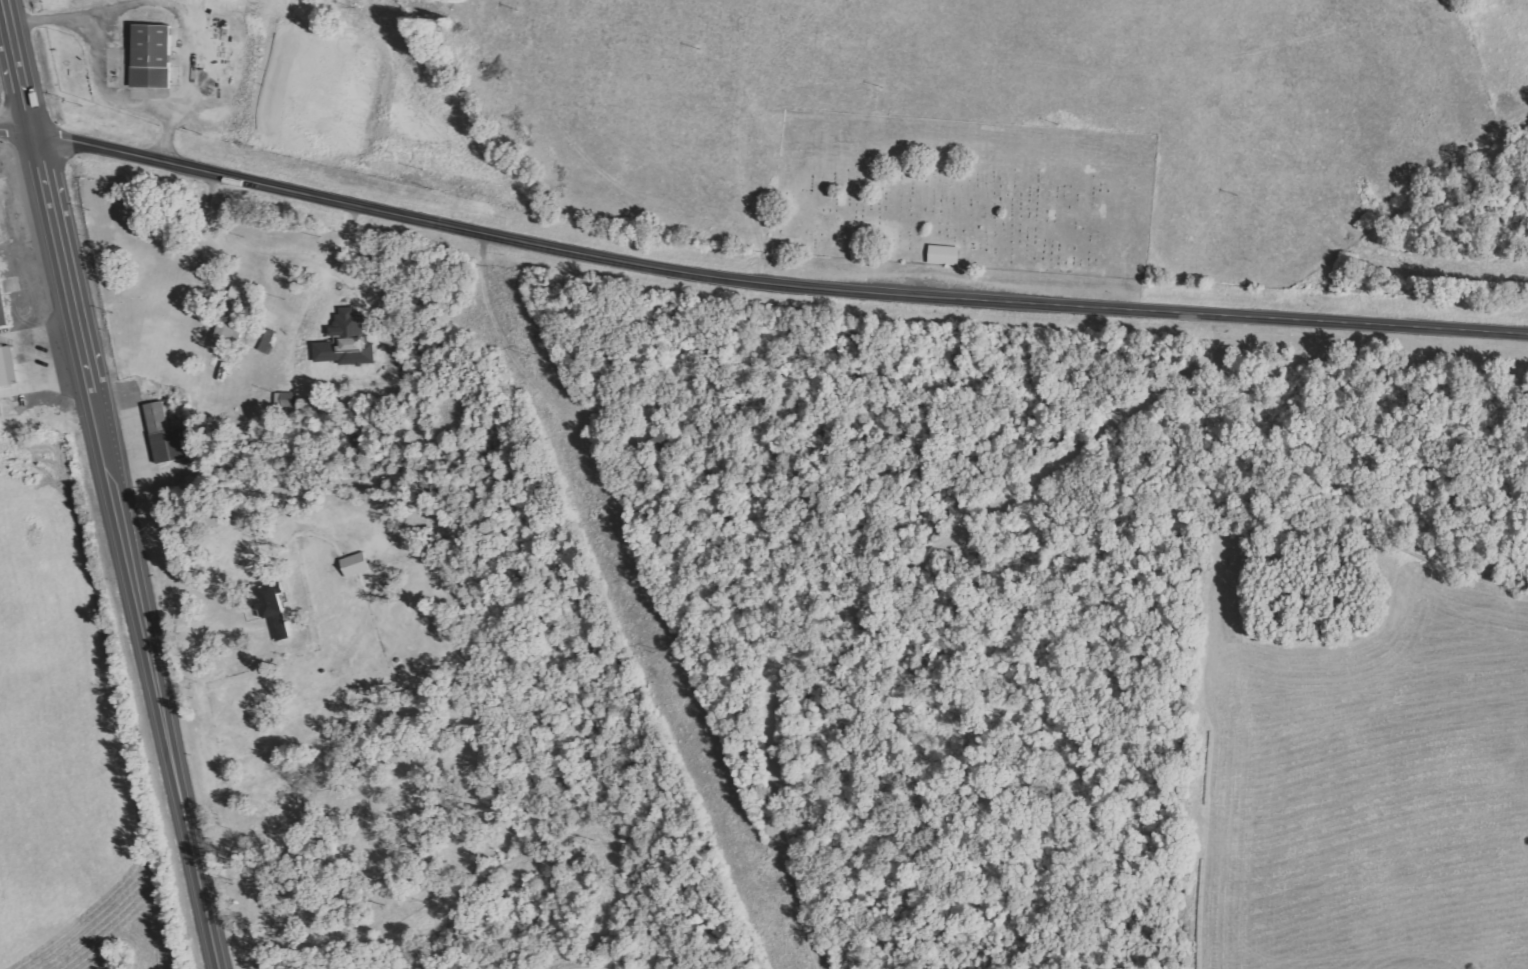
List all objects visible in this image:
park: (961, 215)
building: (942, 256)
road: (757, 272)
building: (2, 311)
building: (229, 320)
building: (345, 341)
building: (6, 367)
building: (163, 435)
road: (119, 484)
building: (354, 565)
building: (270, 610)

